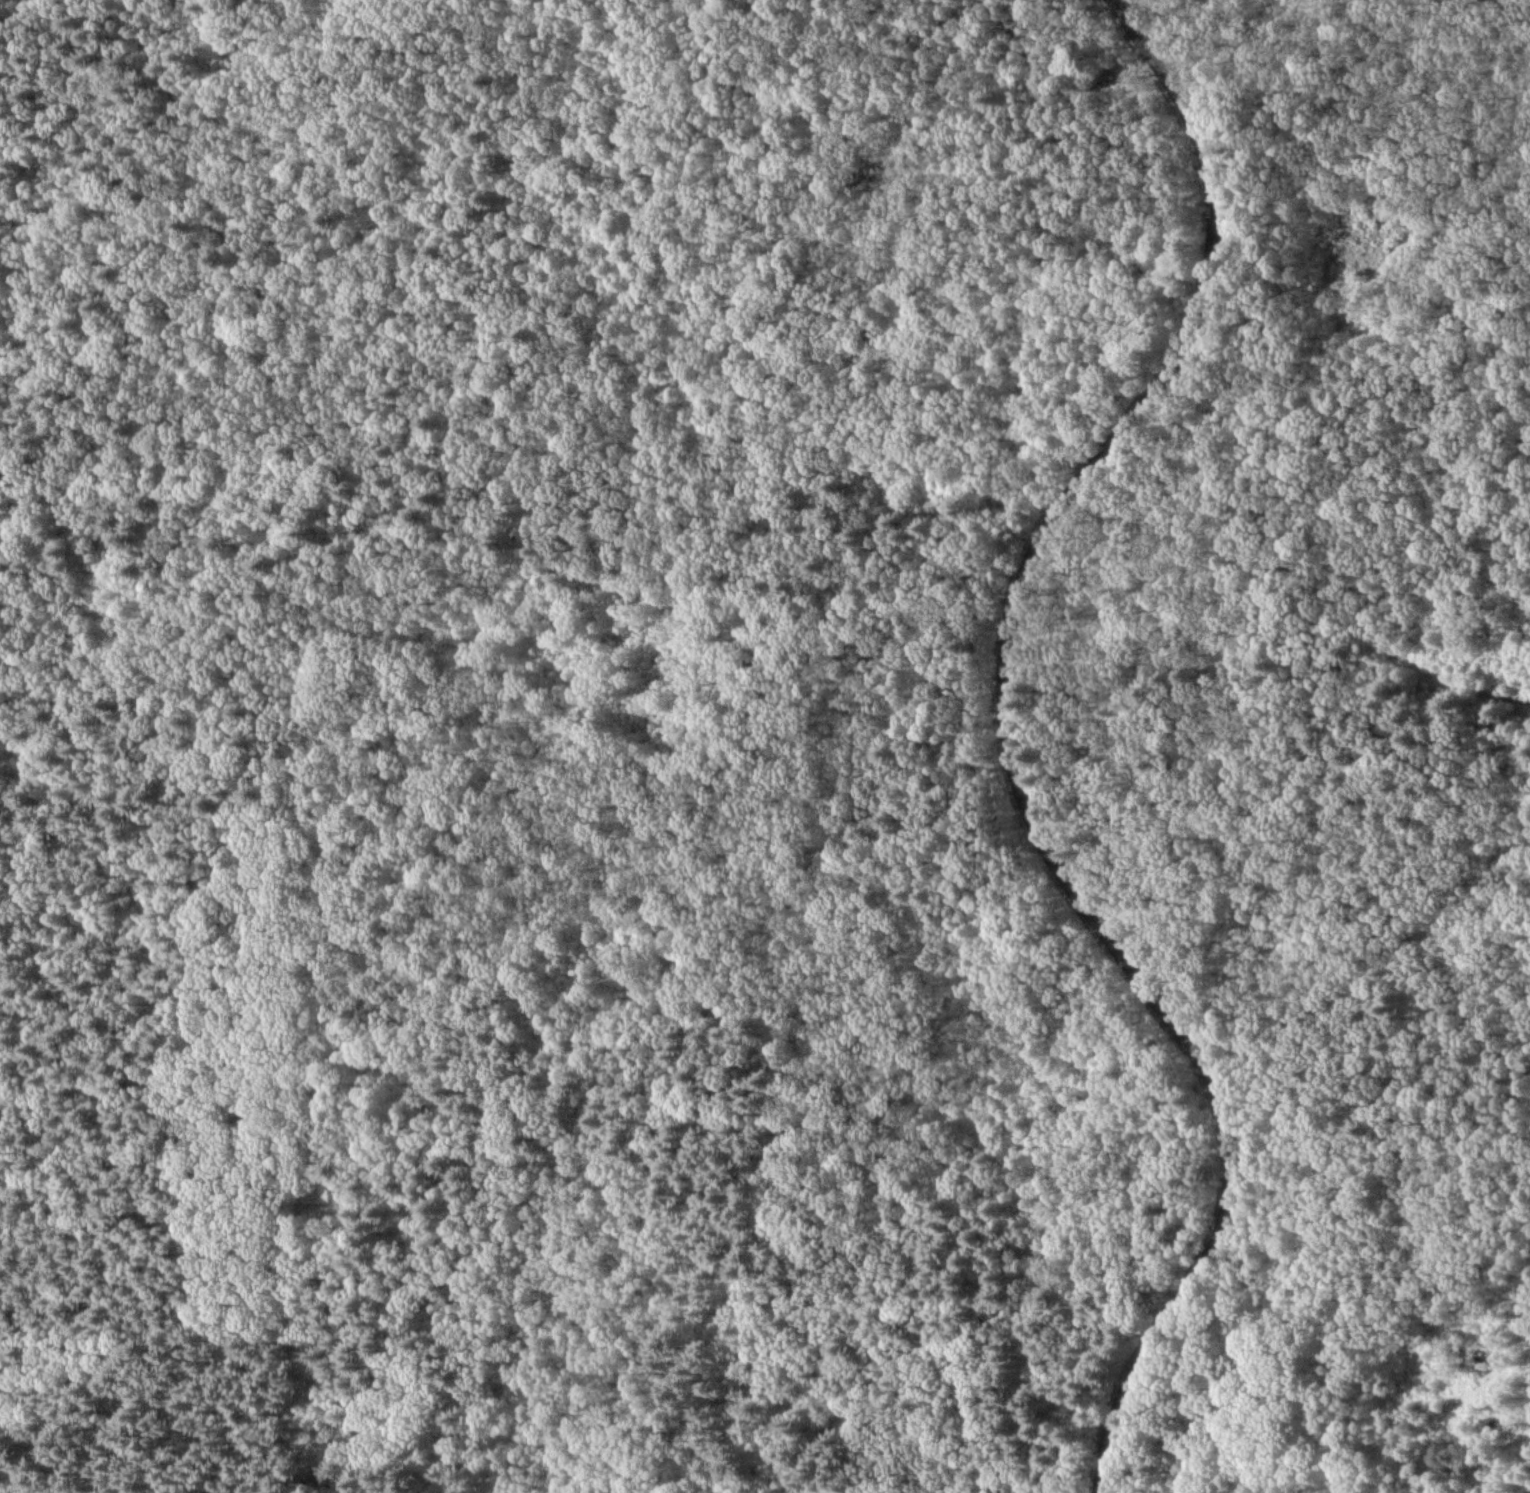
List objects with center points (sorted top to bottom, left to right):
road: (1484, 10)
road: (1513, 10)
road: (1424, 141)
road: (1284, 521)
road: (1007, 751)

